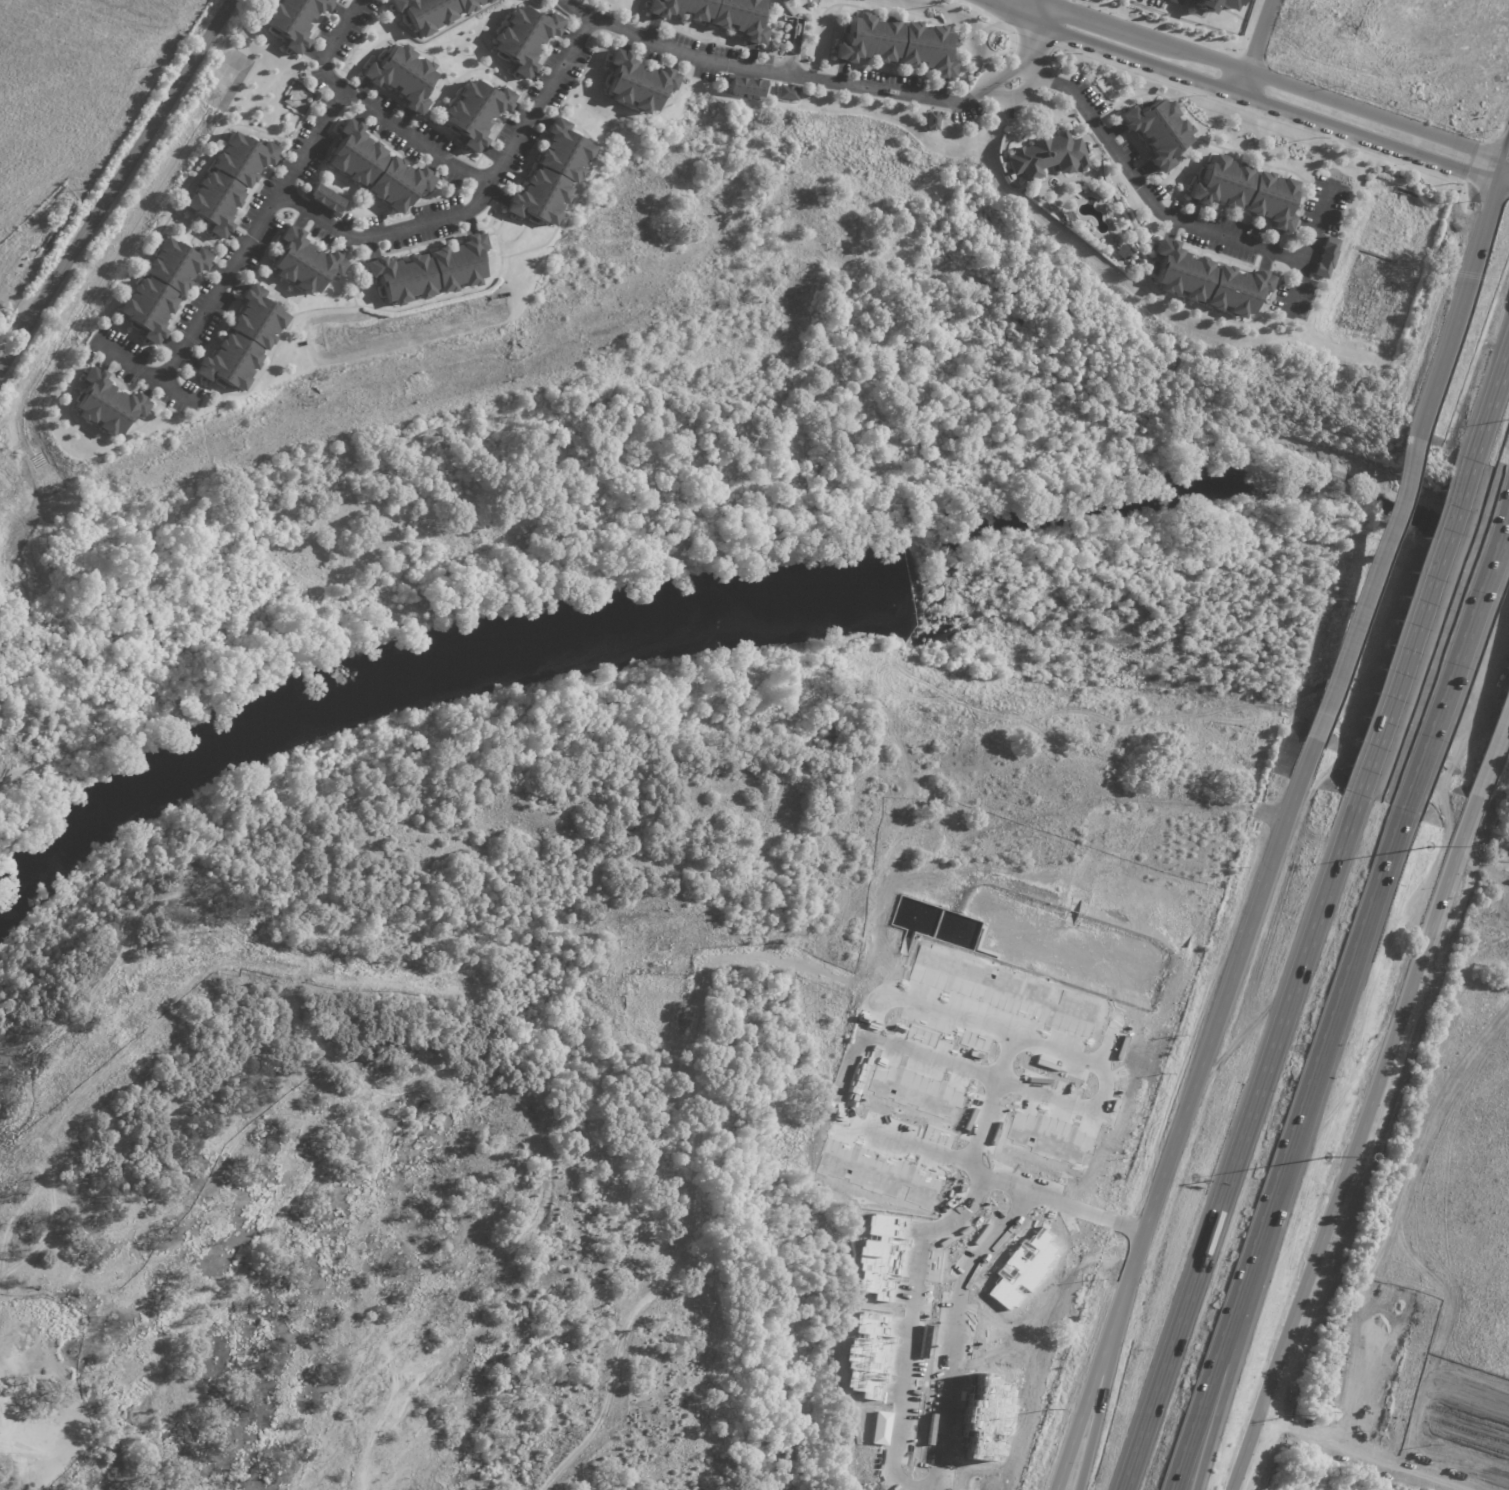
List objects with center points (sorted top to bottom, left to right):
building: (1174, 3)
building: (1215, 7)
road: (571, 8)
road: (1023, 8)
road: (1042, 11)
building: (433, 13)
building: (717, 14)
building: (295, 20)
building: (525, 39)
building: (896, 45)
road: (1256, 46)
building: (401, 77)
road: (1275, 79)
building: (635, 84)
road: (842, 86)
building: (745, 88)
road: (1237, 92)
building: (786, 93)
building: (474, 112)
building: (931, 121)
building: (1158, 129)
building: (1047, 155)
road: (1505, 161)
road: (449, 162)
building: (375, 169)
road: (1505, 170)
building: (549, 176)
road: (115, 182)
building: (226, 182)
building: (1246, 189)
road: (1144, 193)
building: (324, 200)
road: (380, 231)
road: (246, 236)
road: (1306, 246)
building: (1326, 256)
building: (302, 263)
building: (429, 273)
building: (1208, 279)
building: (159, 288)
road: (1459, 299)
building: (242, 342)
road: (138, 371)
road: (1490, 402)
building: (105, 405)
road: (1364, 586)
road: (1412, 630)
road: (1453, 650)
road: (1492, 752)
building: (1000, 990)
road: (880, 1006)
road: (1103, 1039)
road: (933, 1057)
road: (1101, 1088)
building: (913, 1092)
road: (1181, 1116)
building: (1048, 1138)
road: (1353, 1145)
road: (1236, 1146)
road: (1283, 1151)
building: (878, 1171)
road: (1126, 1222)
building: (876, 1257)
building: (1019, 1269)
road: (961, 1289)
road: (1246, 1293)
road: (912, 1297)
building: (863, 1353)
road: (1099, 1389)
building: (980, 1417)
road: (1362, 1456)

